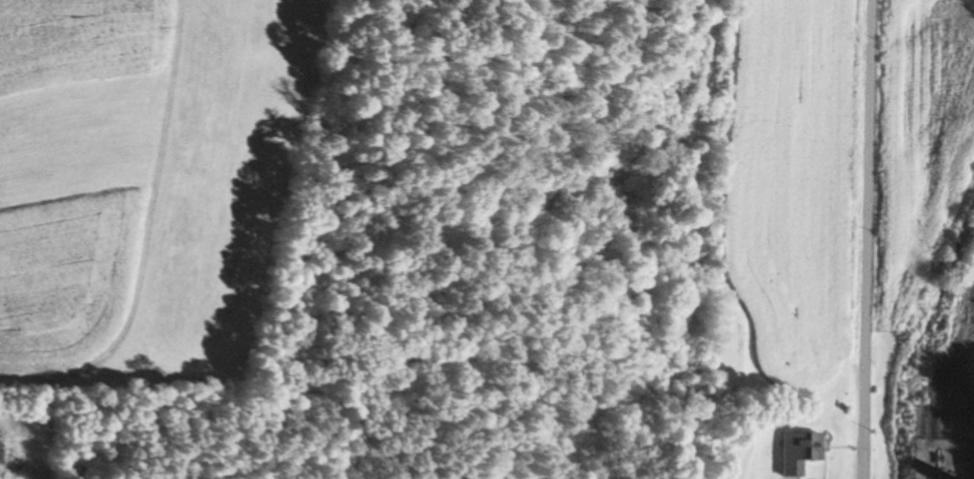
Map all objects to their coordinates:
crop: (138, 181)
road: (863, 239)
building: (804, 445)

